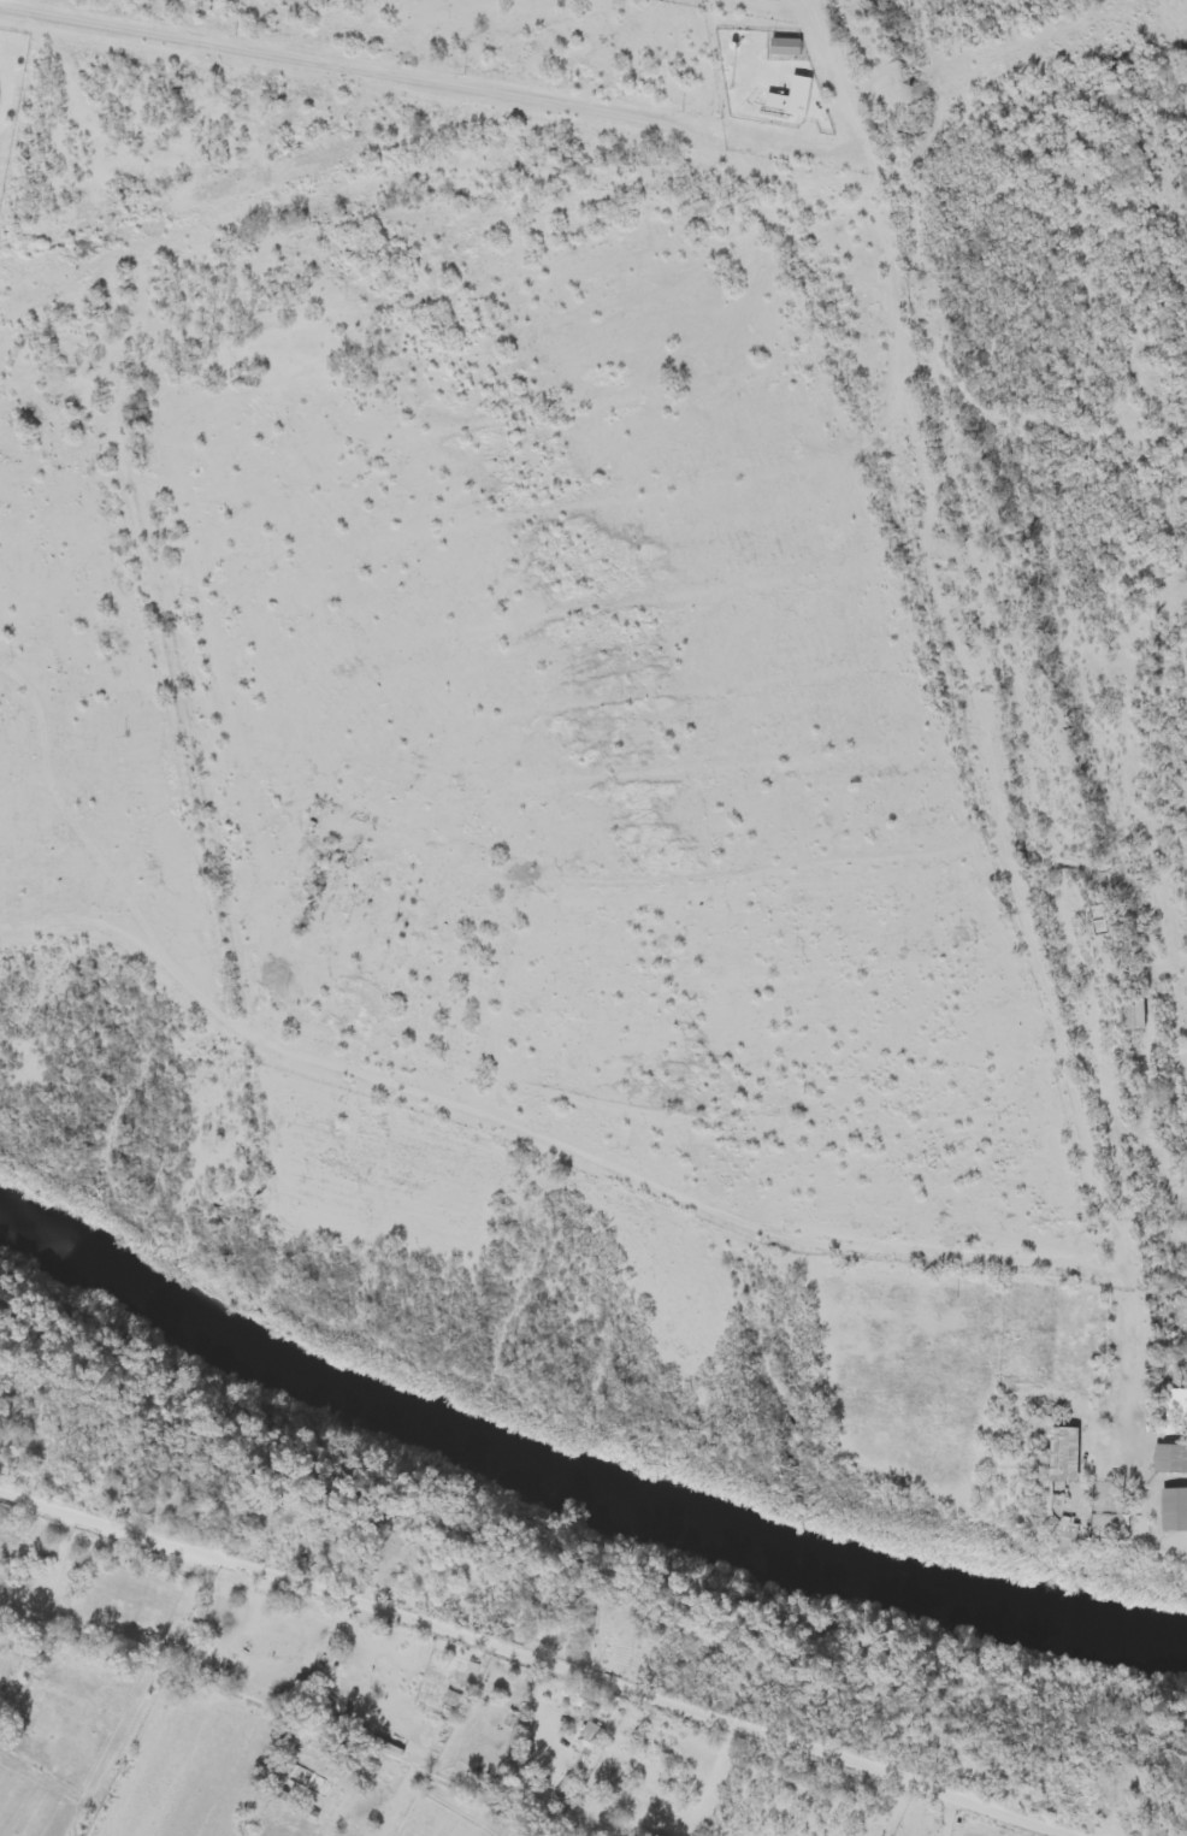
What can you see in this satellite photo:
road: (336, 66)
river: (577, 1469)
road: (541, 1659)

